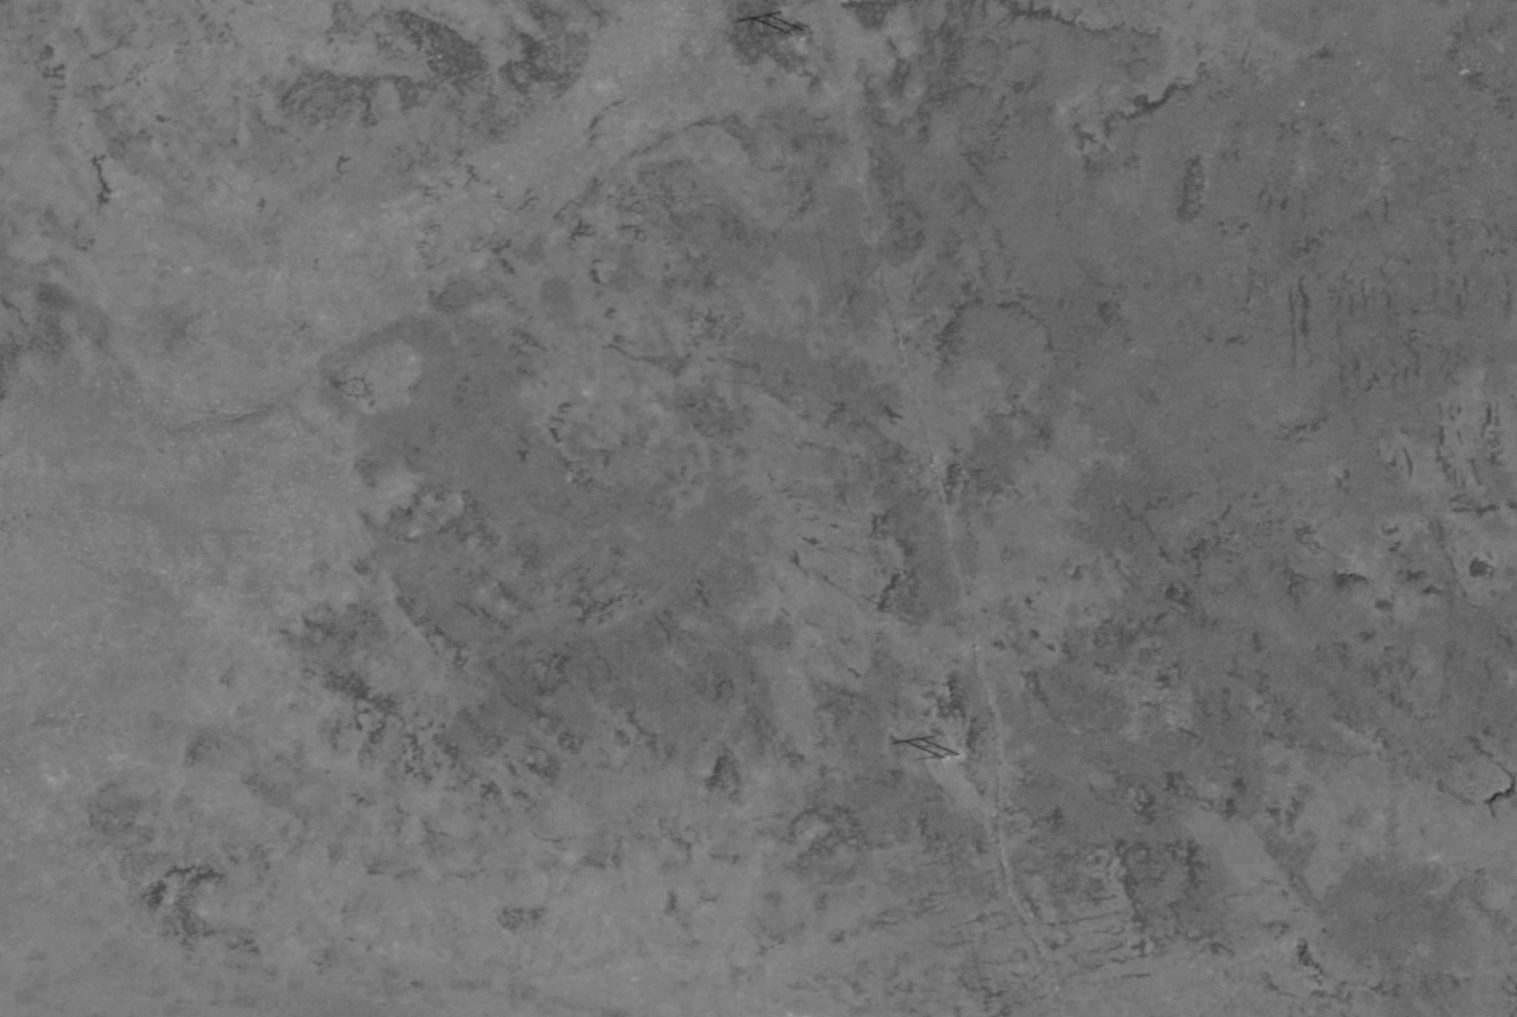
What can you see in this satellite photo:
power tower: (793, 33)
power tower: (948, 757)

